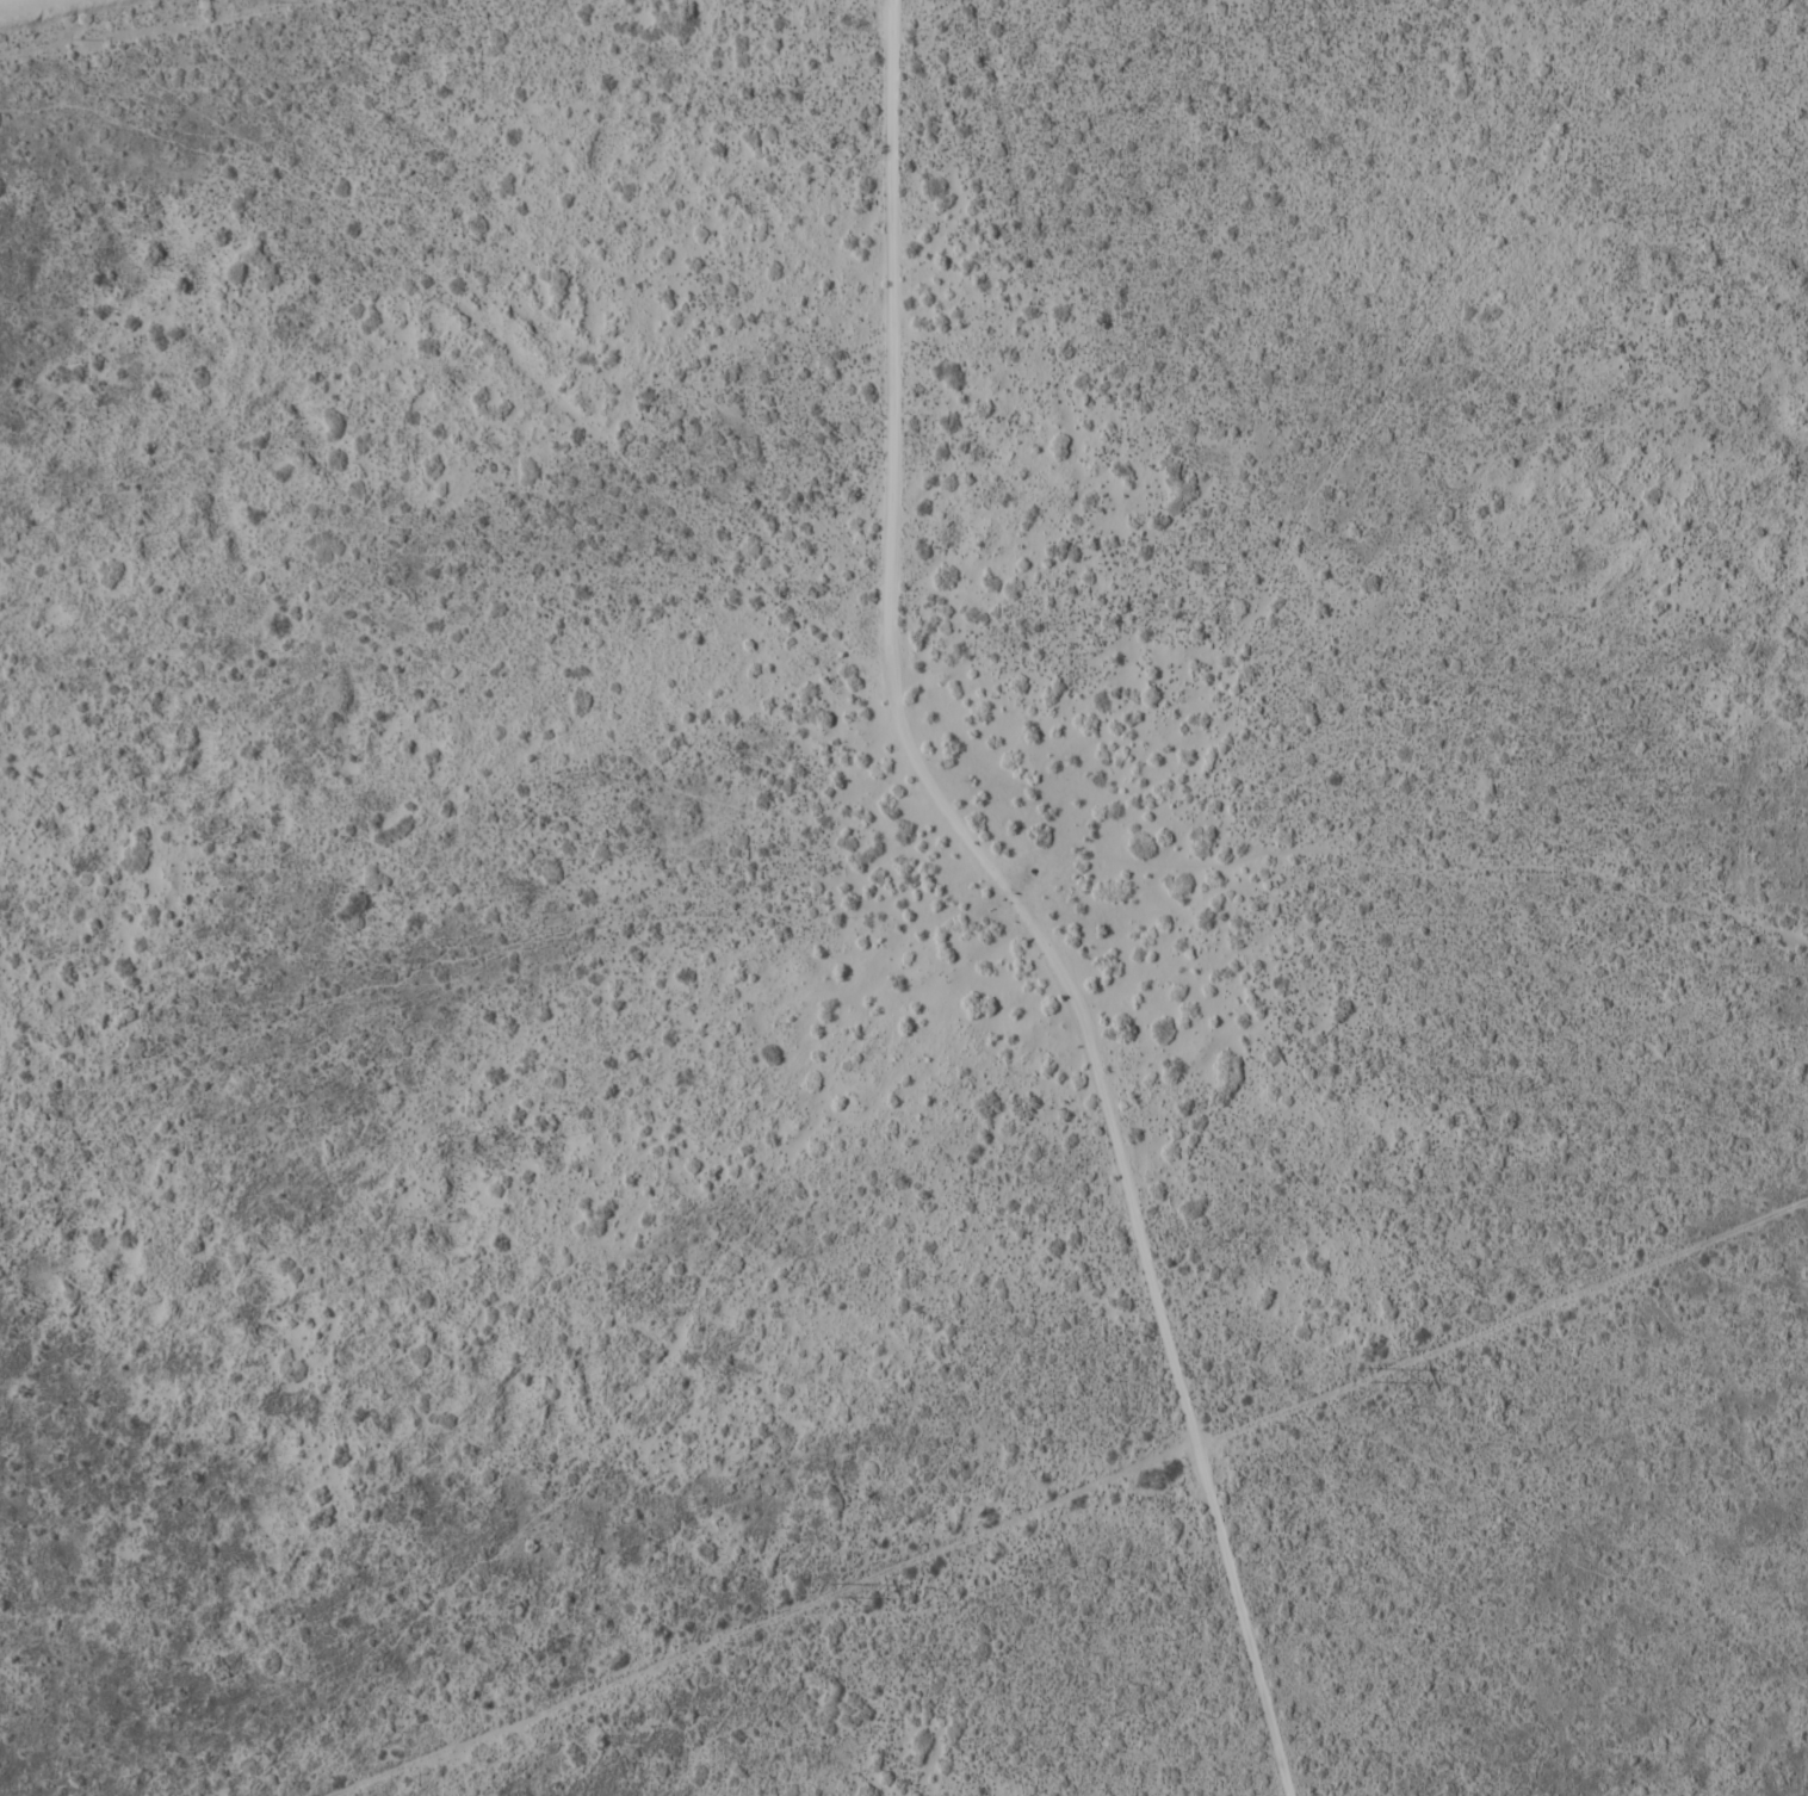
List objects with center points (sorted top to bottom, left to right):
road: (1188, 540)
road: (1014, 902)
power tower: (1374, 1373)
power tower: (838, 1588)

